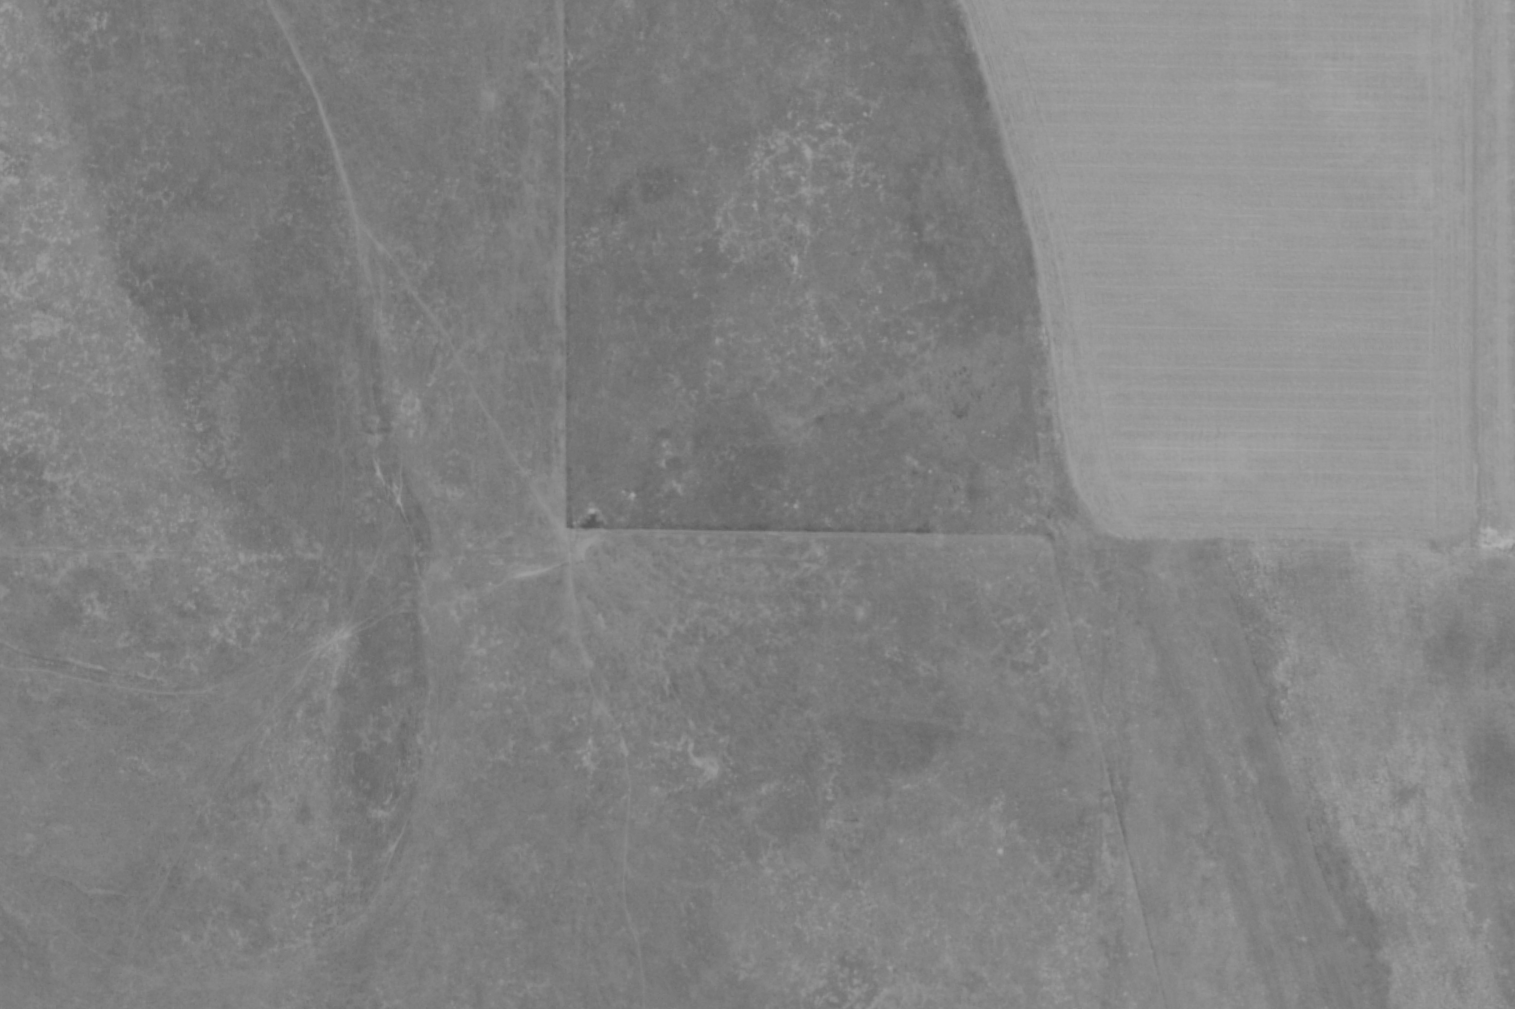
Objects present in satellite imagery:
airport runway: (1257, 775)

